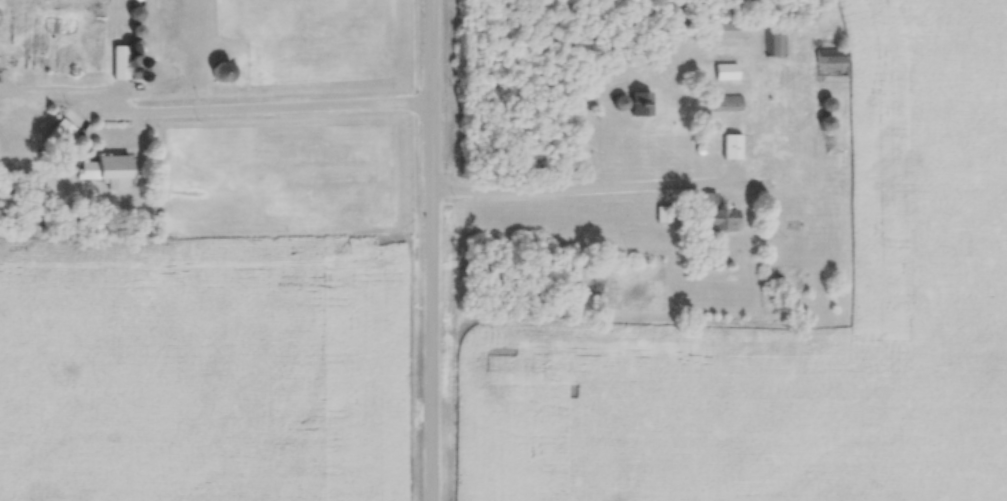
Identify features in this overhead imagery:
building: (139, 12)
building: (733, 29)
building: (775, 39)
building: (833, 55)
building: (124, 56)
building: (728, 71)
building: (728, 102)
building: (639, 103)
building: (832, 103)
road: (254, 106)
building: (831, 122)
building: (63, 132)
building: (734, 146)
building: (111, 170)
road: (583, 192)
building: (719, 214)
road: (431, 250)

